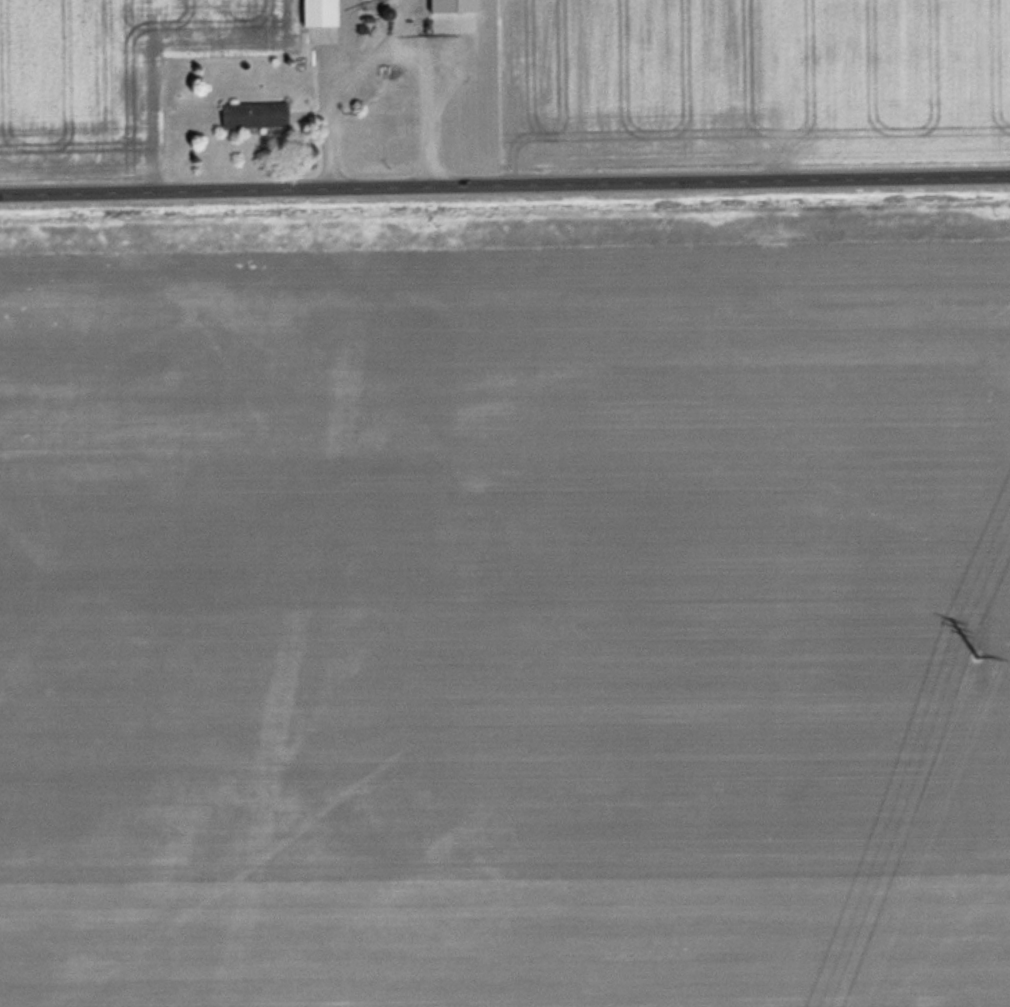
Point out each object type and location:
building: (390, 0)
building: (321, 12)
building: (450, 12)
road: (385, 49)
building: (256, 114)
road: (504, 182)
power tower: (969, 660)

